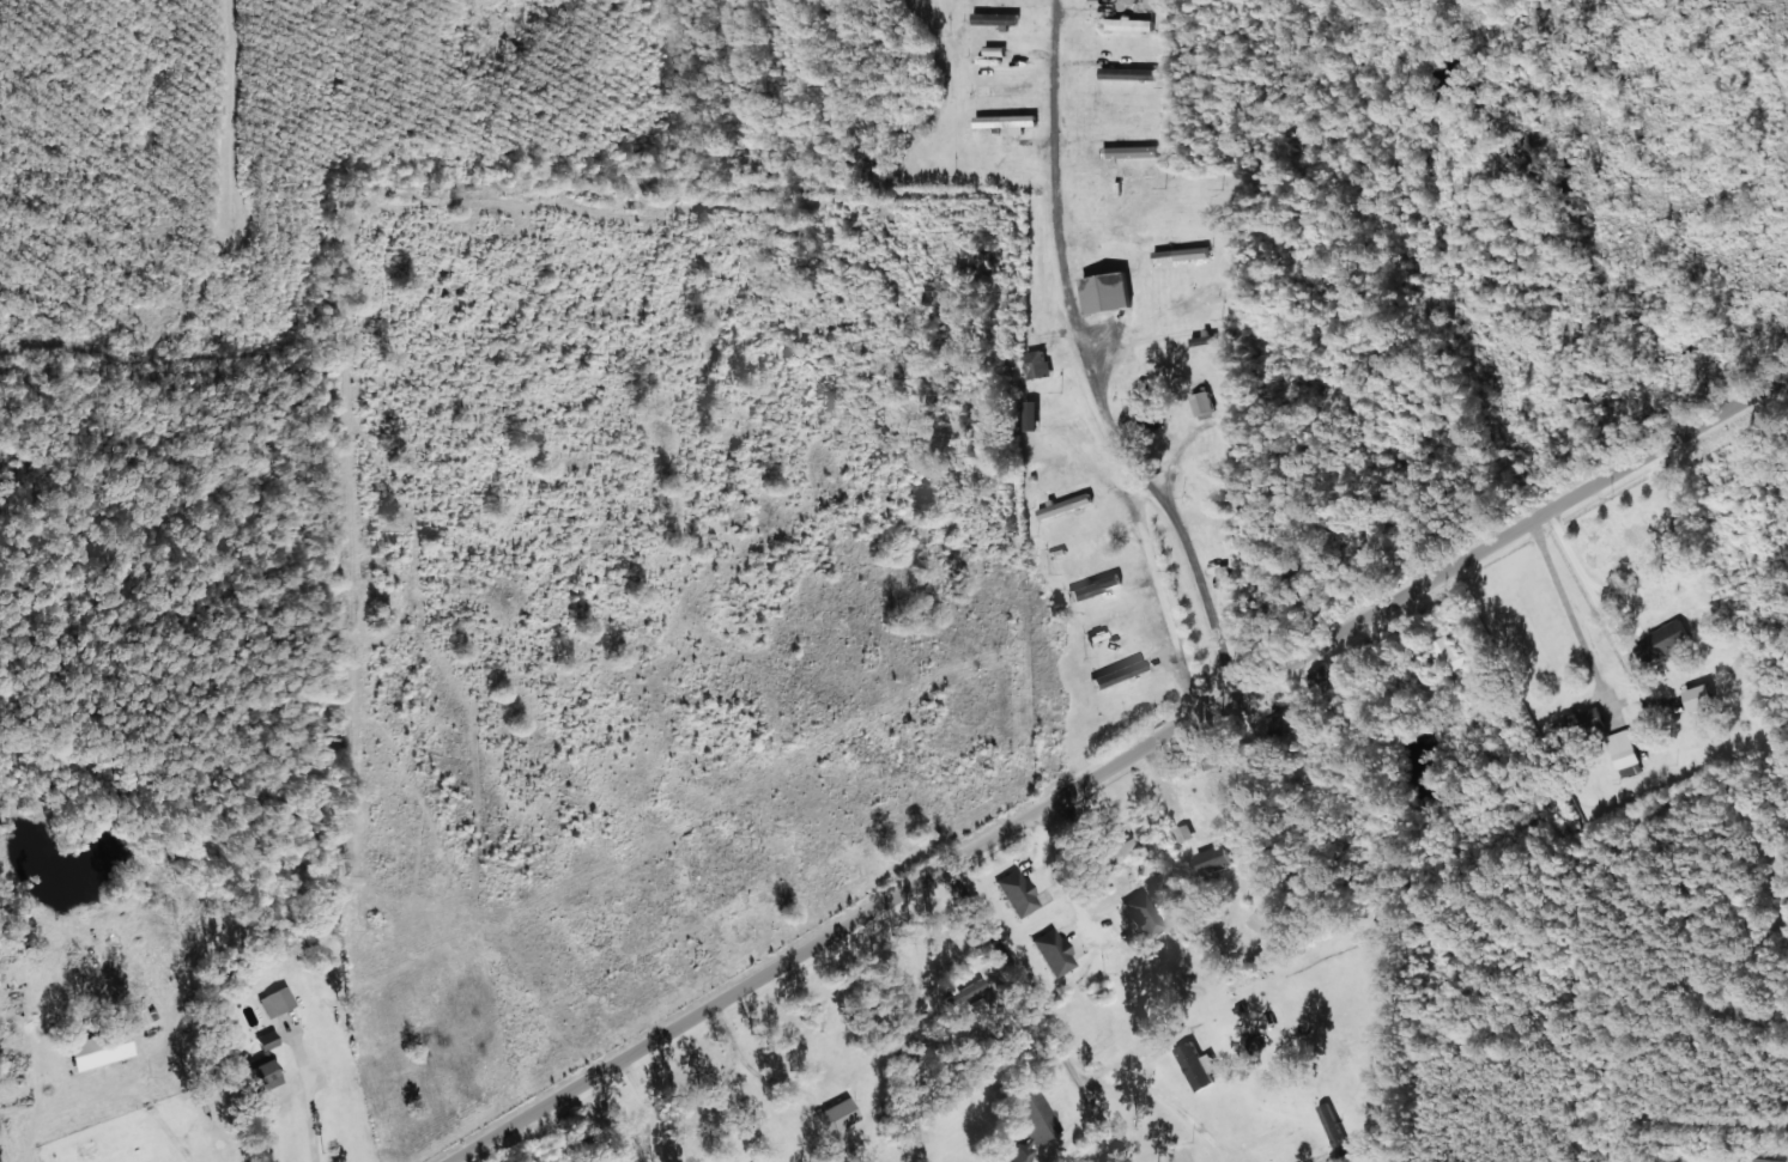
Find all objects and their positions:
building: (999, 18)
building: (1132, 24)
building: (996, 50)
building: (990, 61)
building: (1131, 73)
building: (1007, 90)
building: (1131, 118)
building: (1010, 122)
building: (1132, 151)
building: (1183, 254)
building: (1110, 292)
building: (1198, 298)
road: (159, 359)
building: (1041, 364)
building: (1204, 402)
building: (1150, 404)
building: (1051, 461)
building: (1067, 505)
road: (1194, 535)
building: (1665, 639)
building: (1451, 653)
building: (1322, 682)
building: (1704, 695)
building: (1572, 722)
building: (1623, 749)
road: (1117, 781)
building: (1186, 832)
building: (1115, 845)
building: (1217, 858)
building: (1018, 892)
building: (1142, 914)
building: (1261, 918)
building: (1054, 951)
building: (968, 990)
building: (140, 1015)
road: (1044, 1022)
building: (267, 1039)
building: (117, 1048)
building: (1200, 1065)
building: (261, 1070)
building: (837, 1114)
building: (1032, 1124)
building: (89, 1154)
building: (1765, 1160)

